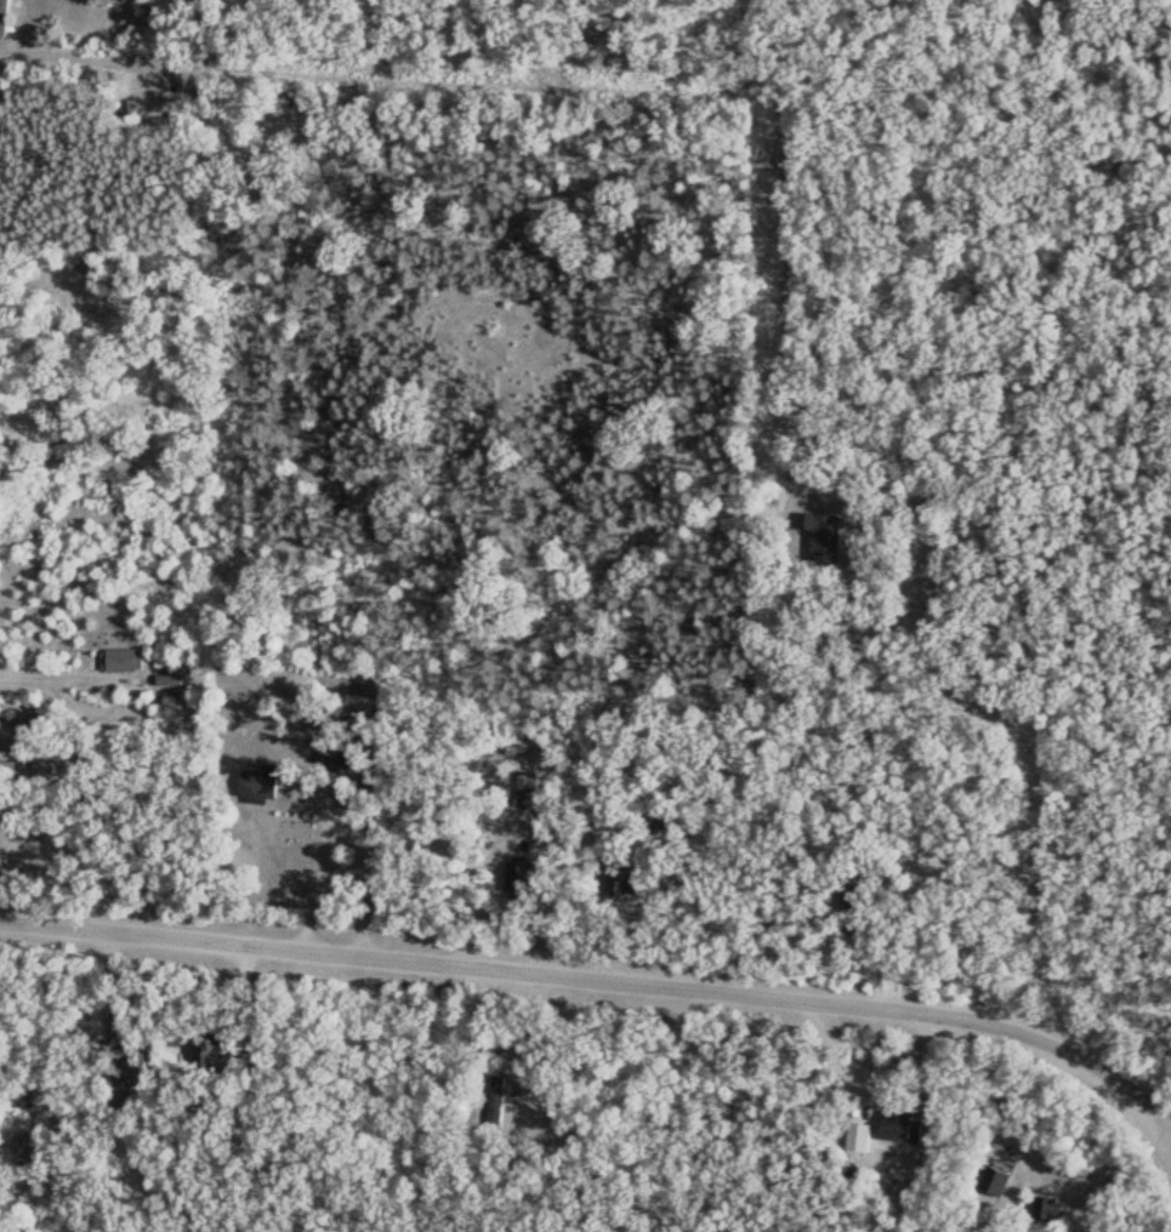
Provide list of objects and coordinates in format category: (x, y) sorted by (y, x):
building: (6, 17)
building: (76, 445)
building: (120, 658)
road: (1030, 781)
road: (112, 970)
road: (598, 980)
building: (104, 1033)
building: (132, 1079)

